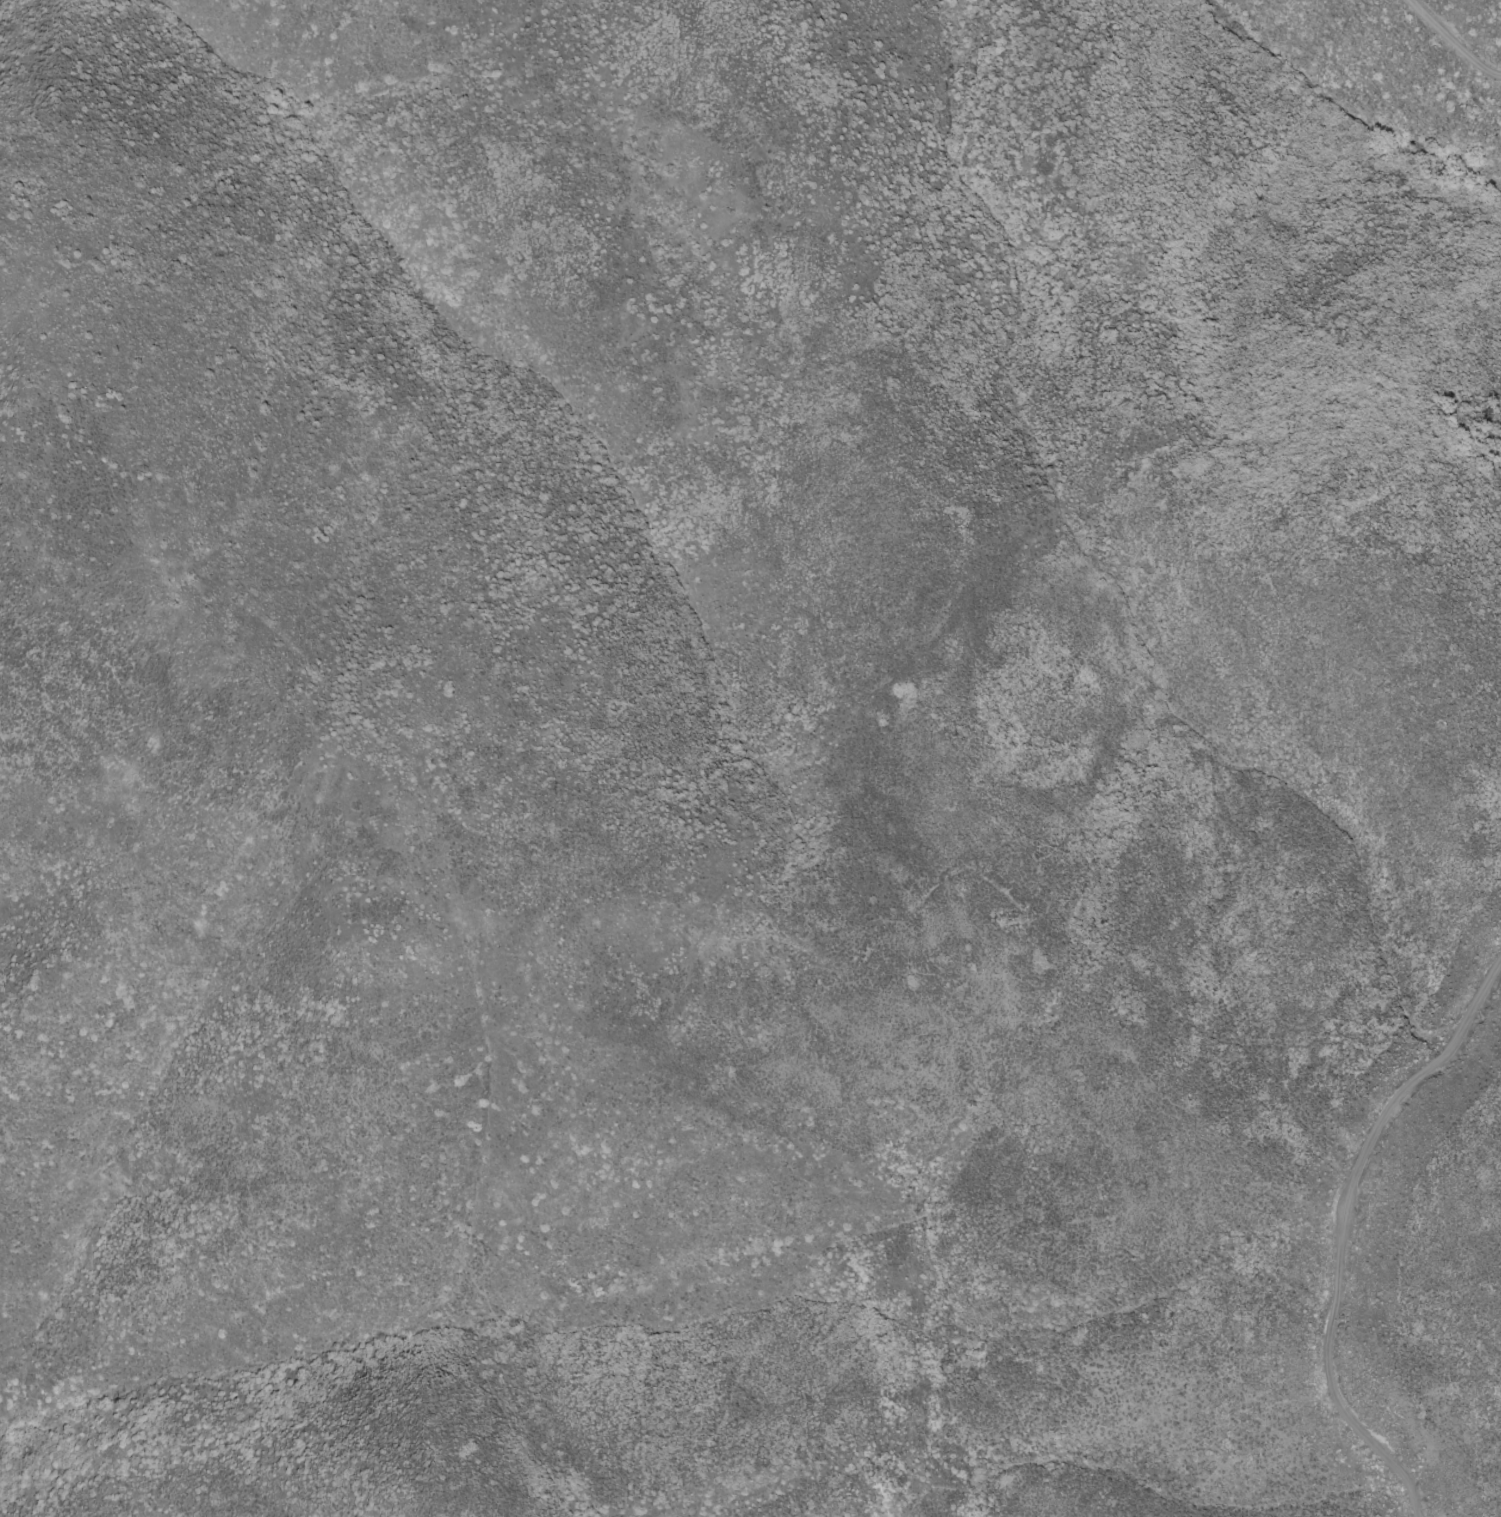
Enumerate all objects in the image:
road: (1453, 42)
road: (1344, 1233)

